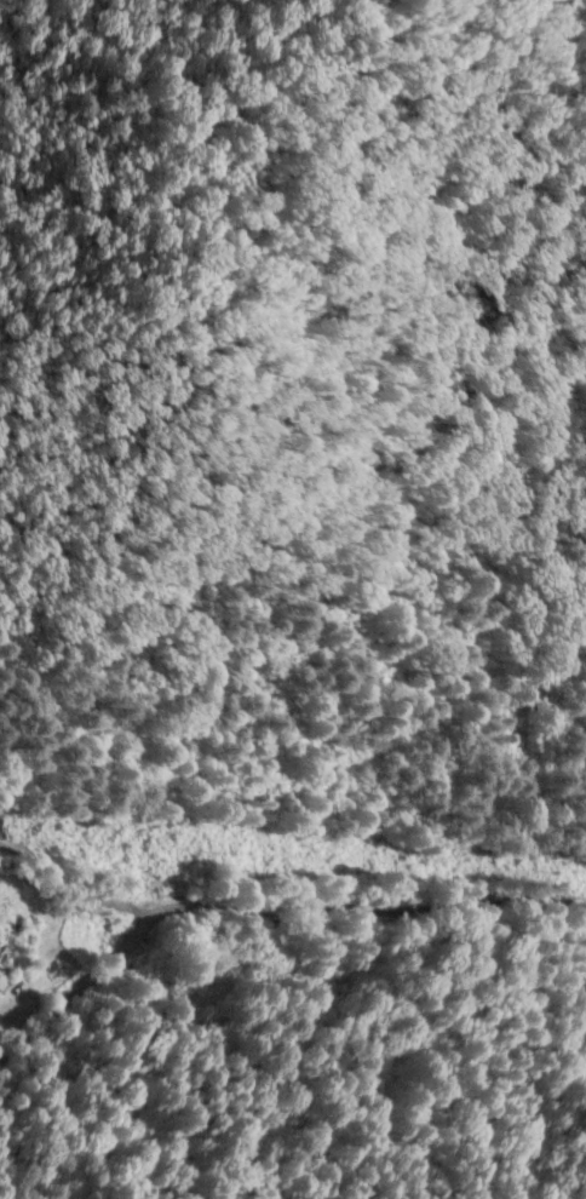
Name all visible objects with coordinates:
road: (75, 885)
road: (265, 907)

